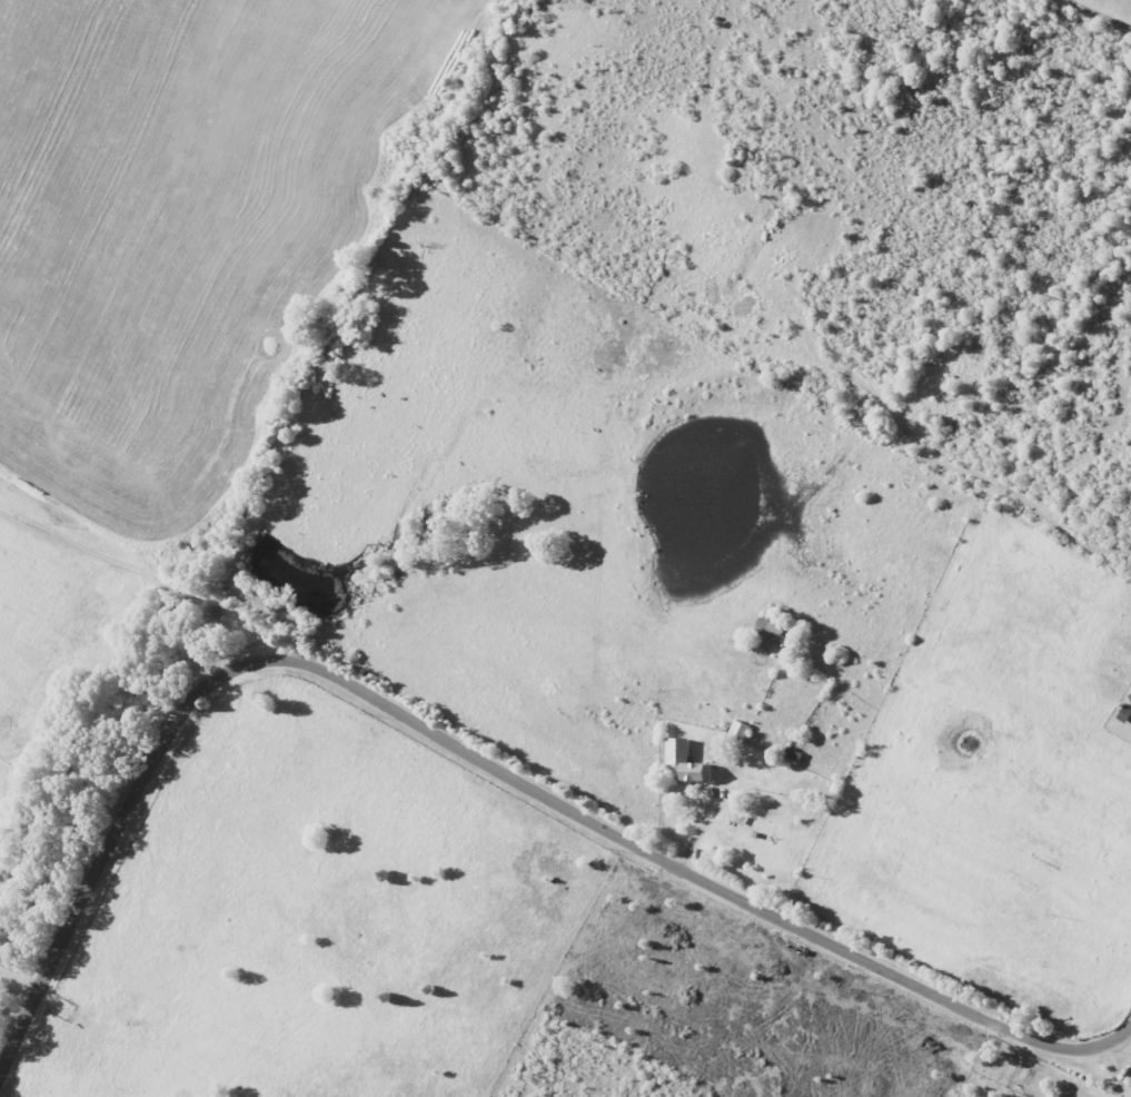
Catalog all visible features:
road: (1103, 11)
road: (132, 569)
building: (1130, 698)
road: (464, 749)
building: (688, 761)
road: (21, 982)
road: (1127, 1039)

